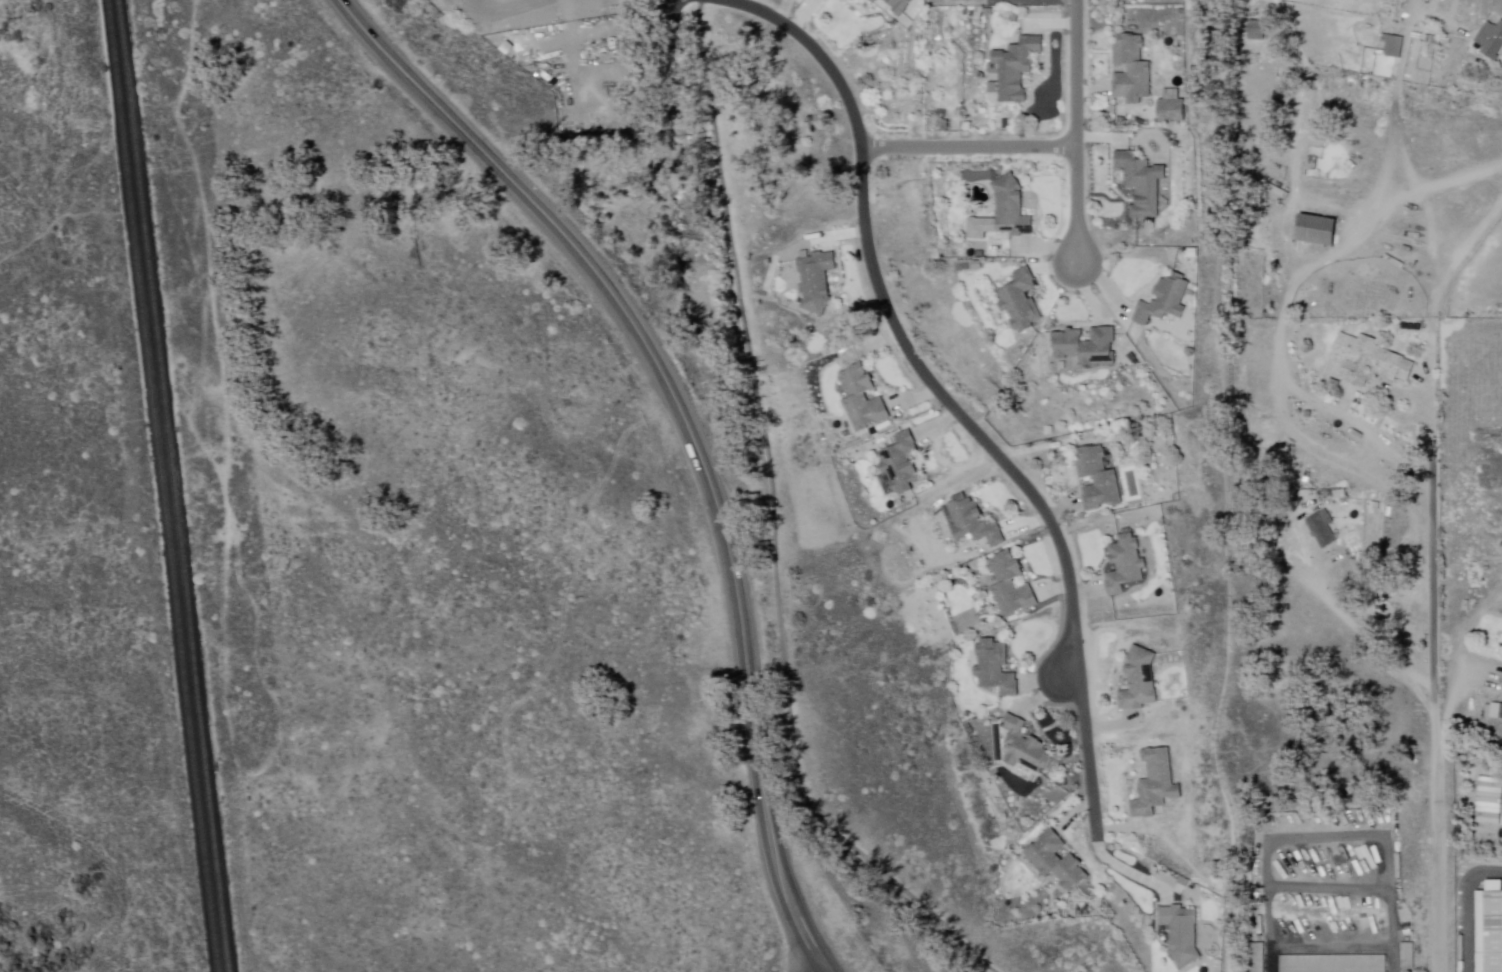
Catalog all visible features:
building: (848, 0)
building: (869, 1)
building: (876, 1)
building: (903, 6)
building: (989, 10)
building: (1014, 16)
building: (1256, 32)
building: (1492, 39)
building: (1394, 46)
building: (1021, 67)
building: (1130, 67)
building: (1171, 108)
building: (1005, 122)
road: (1080, 131)
road: (970, 146)
building: (1140, 182)
building: (1004, 212)
building: (1149, 225)
building: (1317, 228)
building: (1193, 251)
building: (979, 252)
building: (977, 264)
building: (819, 282)
building: (1164, 300)
building: (1024, 303)
building: (1079, 352)
building: (1131, 356)
building: (1368, 362)
park: (15, 385)
road: (946, 395)
building: (865, 398)
road: (687, 431)
building: (902, 466)
building: (1097, 480)
railway: (176, 485)
railway: (162, 486)
building: (1419, 510)
building: (975, 523)
building: (1323, 529)
building: (1124, 566)
building: (1014, 585)
road: (1358, 630)
building: (998, 669)
road: (1435, 675)
building: (1137, 681)
road: (1453, 702)
building: (1028, 749)
building: (1155, 786)
building: (1484, 816)
building: (1060, 861)
building: (1183, 881)
building: (1082, 913)
building: (1489, 929)
building: (1186, 934)
building: (1257, 958)
building: (1334, 964)
road: (817, 969)
road: (821, 969)

